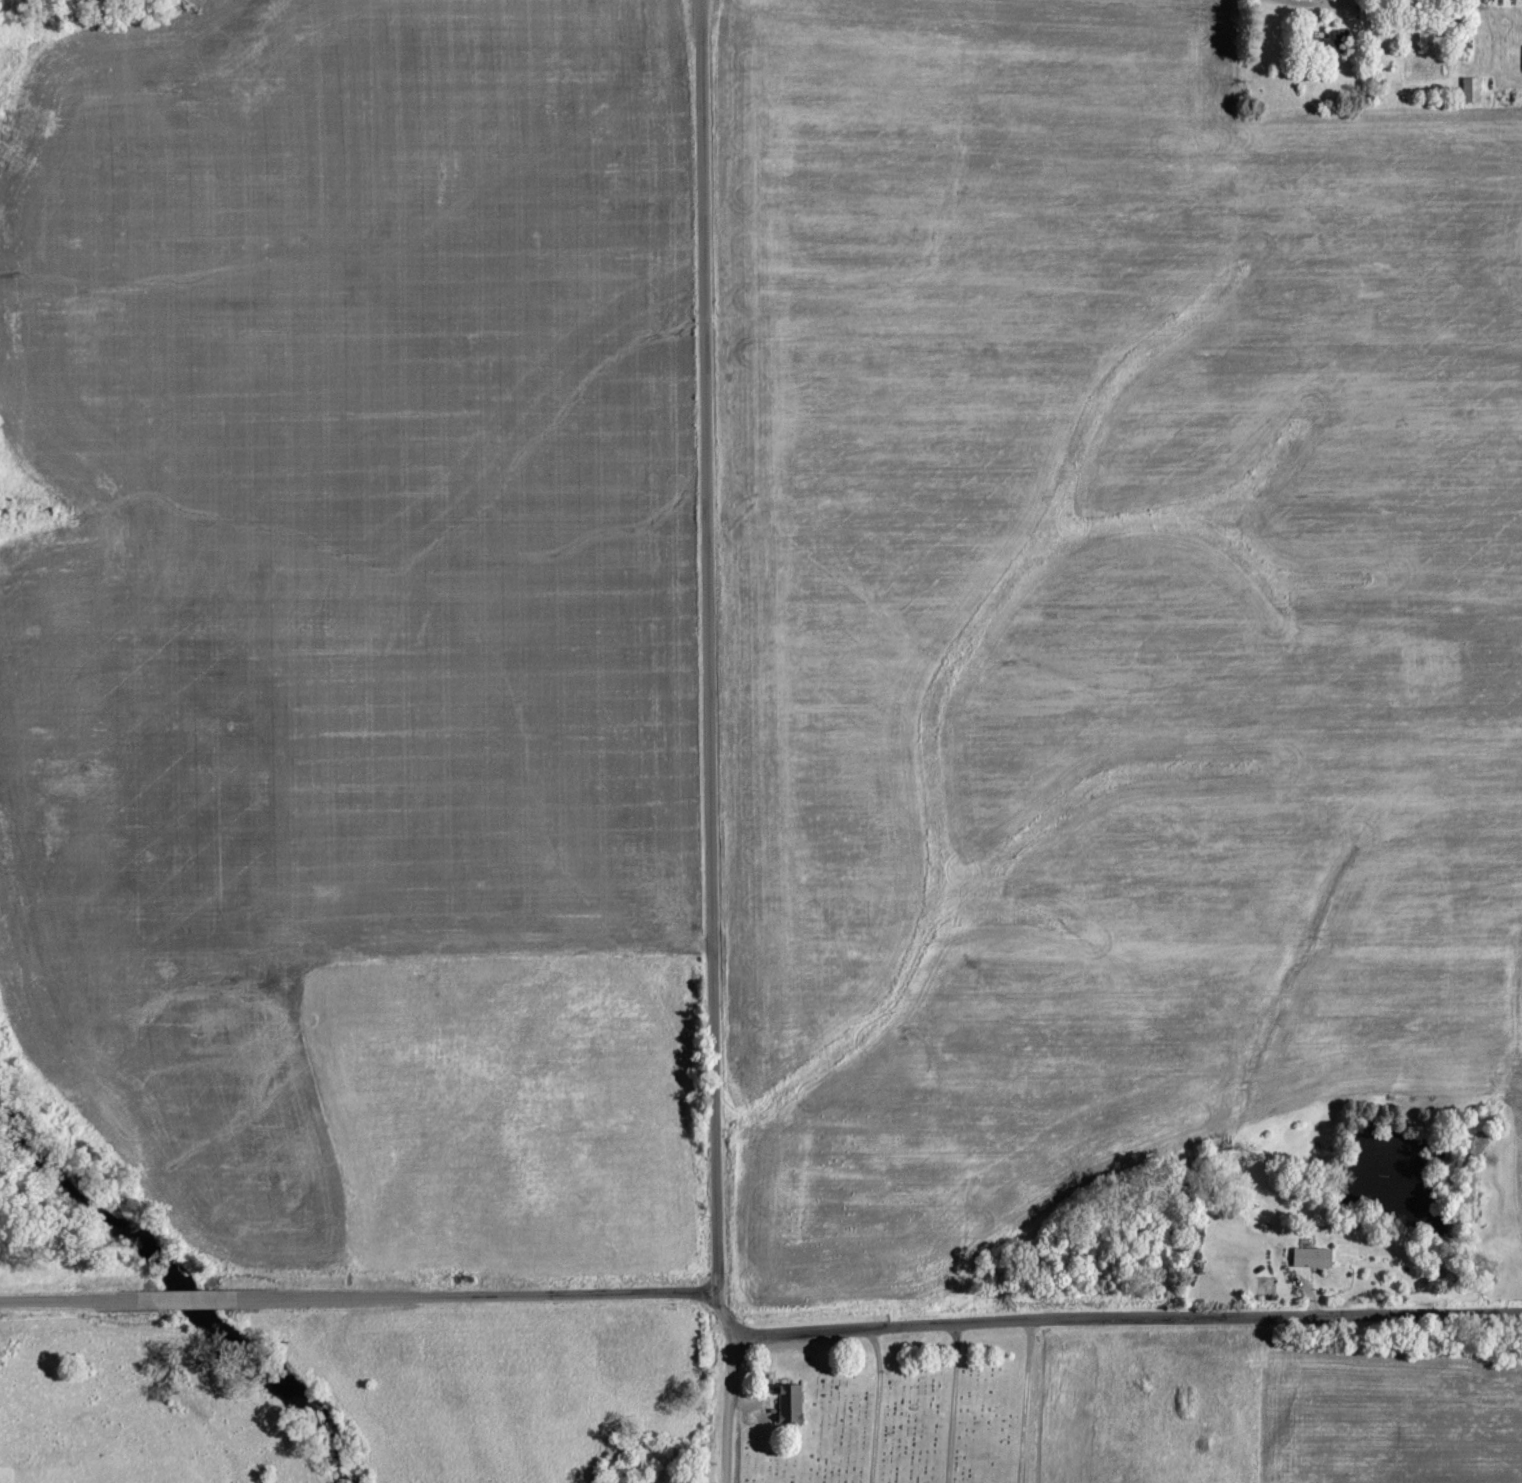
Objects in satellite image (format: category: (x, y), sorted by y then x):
road: (1316, 4)
building: (1339, 43)
building: (1473, 90)
road: (710, 667)
building: (1314, 1258)
road: (480, 1292)
road: (186, 1298)
road: (66, 1299)
road: (1123, 1324)
building: (791, 1404)
road: (723, 1408)

